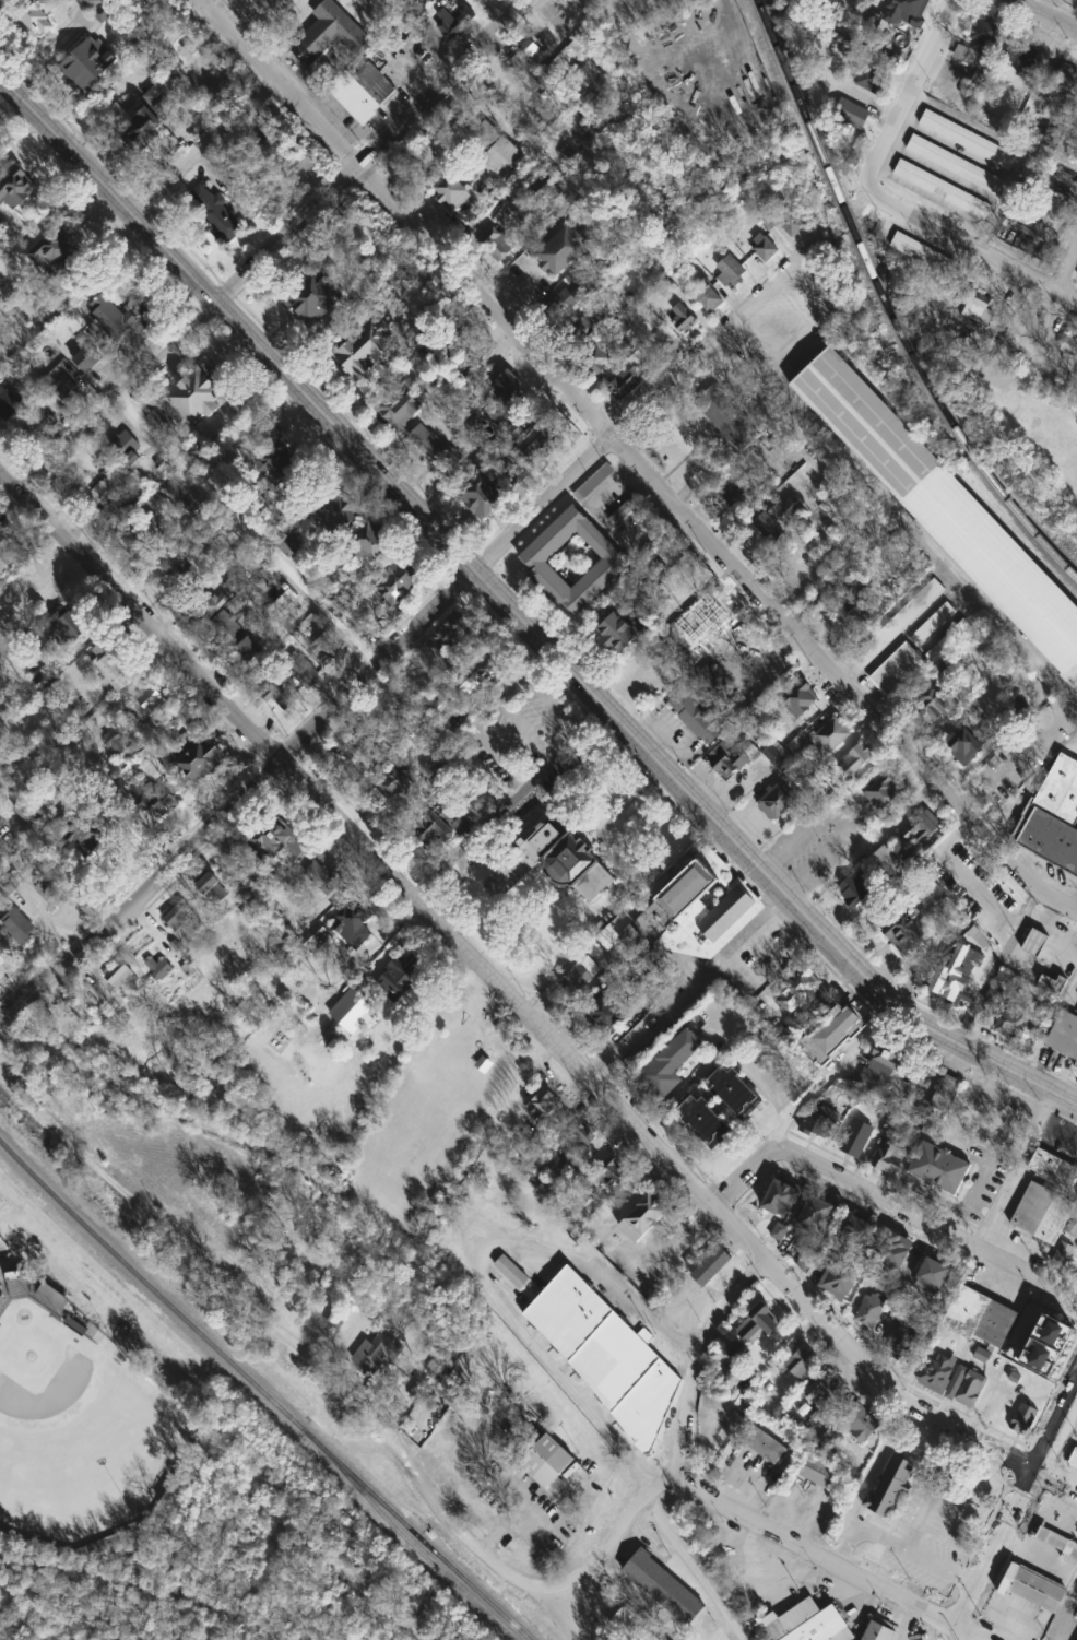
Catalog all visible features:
building: (851, 0)
building: (860, 0)
road: (209, 1)
building: (903, 12)
building: (39, 15)
road: (1044, 16)
building: (454, 21)
building: (331, 35)
road: (567, 35)
building: (980, 47)
building: (533, 48)
building: (1021, 59)
building: (90, 64)
building: (528, 71)
building: (375, 80)
building: (872, 80)
building: (1066, 81)
building: (972, 86)
road: (907, 96)
building: (355, 97)
building: (850, 115)
building: (154, 118)
building: (968, 140)
road: (203, 144)
road: (366, 151)
building: (506, 158)
building: (955, 165)
building: (19, 189)
building: (942, 190)
building: (453, 192)
building: (217, 213)
building: (791, 221)
building: (497, 245)
building: (55, 249)
building: (767, 249)
building: (564, 251)
road: (973, 252)
building: (922, 255)
building: (732, 269)
road: (1066, 273)
building: (709, 296)
building: (312, 298)
building: (972, 302)
building: (564, 304)
railway: (888, 305)
building: (683, 317)
building: (120, 320)
road: (761, 331)
building: (585, 332)
building: (455, 343)
building: (1068, 346)
building: (368, 349)
building: (91, 357)
building: (597, 359)
building: (626, 385)
building: (66, 388)
building: (509, 394)
building: (198, 398)
road: (652, 398)
road: (117, 400)
building: (11, 403)
building: (400, 409)
building: (727, 417)
building: (39, 427)
building: (513, 435)
building: (546, 441)
building: (128, 448)
building: (436, 449)
building: (202, 453)
road: (632, 457)
building: (279, 463)
building: (594, 482)
building: (486, 495)
building: (735, 499)
building: (110, 500)
building: (942, 509)
building: (343, 510)
building: (776, 519)
building: (146, 534)
building: (294, 541)
building: (375, 542)
road: (263, 546)
building: (7, 554)
building: (536, 559)
building: (182, 578)
building: (401, 580)
building: (854, 604)
building: (210, 605)
building: (718, 605)
road: (520, 614)
building: (900, 624)
building: (230, 625)
building: (933, 625)
building: (68, 626)
building: (622, 632)
building: (448, 636)
building: (948, 641)
building: (256, 649)
building: (328, 650)
road: (536, 658)
building: (111, 664)
building: (485, 672)
building: (899, 673)
building: (299, 674)
building: (280, 693)
building: (797, 696)
road: (497, 698)
road: (553, 699)
building: (401, 705)
building: (706, 705)
building: (146, 706)
building: (441, 706)
building: (932, 708)
road: (594, 717)
road: (87, 728)
road: (522, 729)
building: (831, 735)
building: (118, 741)
building: (966, 743)
building: (352, 746)
road: (496, 754)
building: (731, 754)
parking lot: (519, 755)
road: (553, 755)
building: (200, 757)
building: (855, 759)
building: (399, 784)
building: (883, 794)
building: (156, 800)
building: (778, 801)
road: (244, 802)
building: (31, 813)
road: (840, 817)
building: (1053, 817)
building: (443, 823)
building: (921, 827)
building: (84, 831)
parking lot: (819, 838)
road: (468, 839)
building: (273, 840)
building: (551, 860)
building: (885, 860)
building: (946, 861)
building: (323, 876)
building: (212, 887)
building: (981, 888)
building: (853, 890)
building: (54, 892)
building: (1003, 911)
building: (178, 916)
building: (682, 922)
building: (21, 924)
building: (356, 924)
building: (909, 931)
building: (1034, 943)
park: (3, 964)
building: (161, 969)
building: (409, 974)
building: (120, 975)
building: (951, 978)
building: (577, 980)
building: (1054, 983)
road: (685, 987)
building: (797, 991)
road: (519, 1011)
building: (609, 1013)
road: (744, 1022)
building: (1014, 1022)
building: (1064, 1034)
building: (827, 1035)
building: (665, 1064)
building: (880, 1064)
road: (826, 1074)
building: (730, 1093)
building: (945, 1096)
park: (435, 1102)
building: (545, 1105)
building: (699, 1121)
building: (817, 1121)
building: (580, 1135)
building: (856, 1140)
building: (889, 1157)
railway: (15, 1159)
building: (532, 1160)
road: (1016, 1166)
building: (1053, 1168)
building: (938, 1169)
building: (613, 1171)
road: (888, 1199)
parking lot: (1, 1200)
building: (780, 1201)
building: (1032, 1207)
building: (814, 1216)
building: (643, 1217)
building: (1054, 1219)
building: (1072, 1225)
building: (855, 1234)
building: (777, 1236)
building: (1064, 1252)
building: (895, 1253)
building: (806, 1258)
road: (1076, 1262)
building: (709, 1266)
building: (512, 1272)
road: (480, 1274)
building: (931, 1276)
building: (839, 1281)
building: (19, 1285)
building: (54, 1298)
building: (2, 1301)
building: (869, 1310)
building: (981, 1320)
building: (754, 1325)
building: (904, 1344)
building: (1044, 1344)
road: (301, 1348)
building: (377, 1353)
building: (607, 1356)
road: (696, 1361)
building: (794, 1364)
building: (937, 1374)
building: (821, 1388)
building: (971, 1389)
railway: (281, 1408)
railway: (264, 1414)
building: (1023, 1420)
building: (860, 1423)
building: (762, 1444)
building: (1073, 1460)
building: (546, 1461)
road: (871, 1467)
building: (818, 1472)
building: (889, 1487)
road: (741, 1489)
road: (1060, 1497)
road: (1016, 1501)
road: (1060, 1510)
road: (1050, 1517)
road: (508, 1518)
road: (1058, 1521)
road: (918, 1522)
road: (1030, 1526)
road: (1068, 1526)
road: (1042, 1531)
road: (1051, 1536)
road: (611, 1539)
parking lot: (920, 1541)
road: (1061, 1542)
road: (900, 1545)
building: (1058, 1545)
road: (1033, 1547)
road: (1042, 1553)
road: (1073, 1554)
road: (1053, 1557)
road: (1034, 1561)
road: (839, 1562)
road: (764, 1567)
road: (693, 1569)
building: (663, 1588)
building: (1031, 1588)
parking lot: (1074, 1590)
road: (240, 1595)
road: (646, 1602)
road: (913, 1621)
building: (809, 1624)
building: (635, 1625)
road: (1015, 1626)
road: (722, 1630)
road: (951, 1630)
building: (875, 1631)

